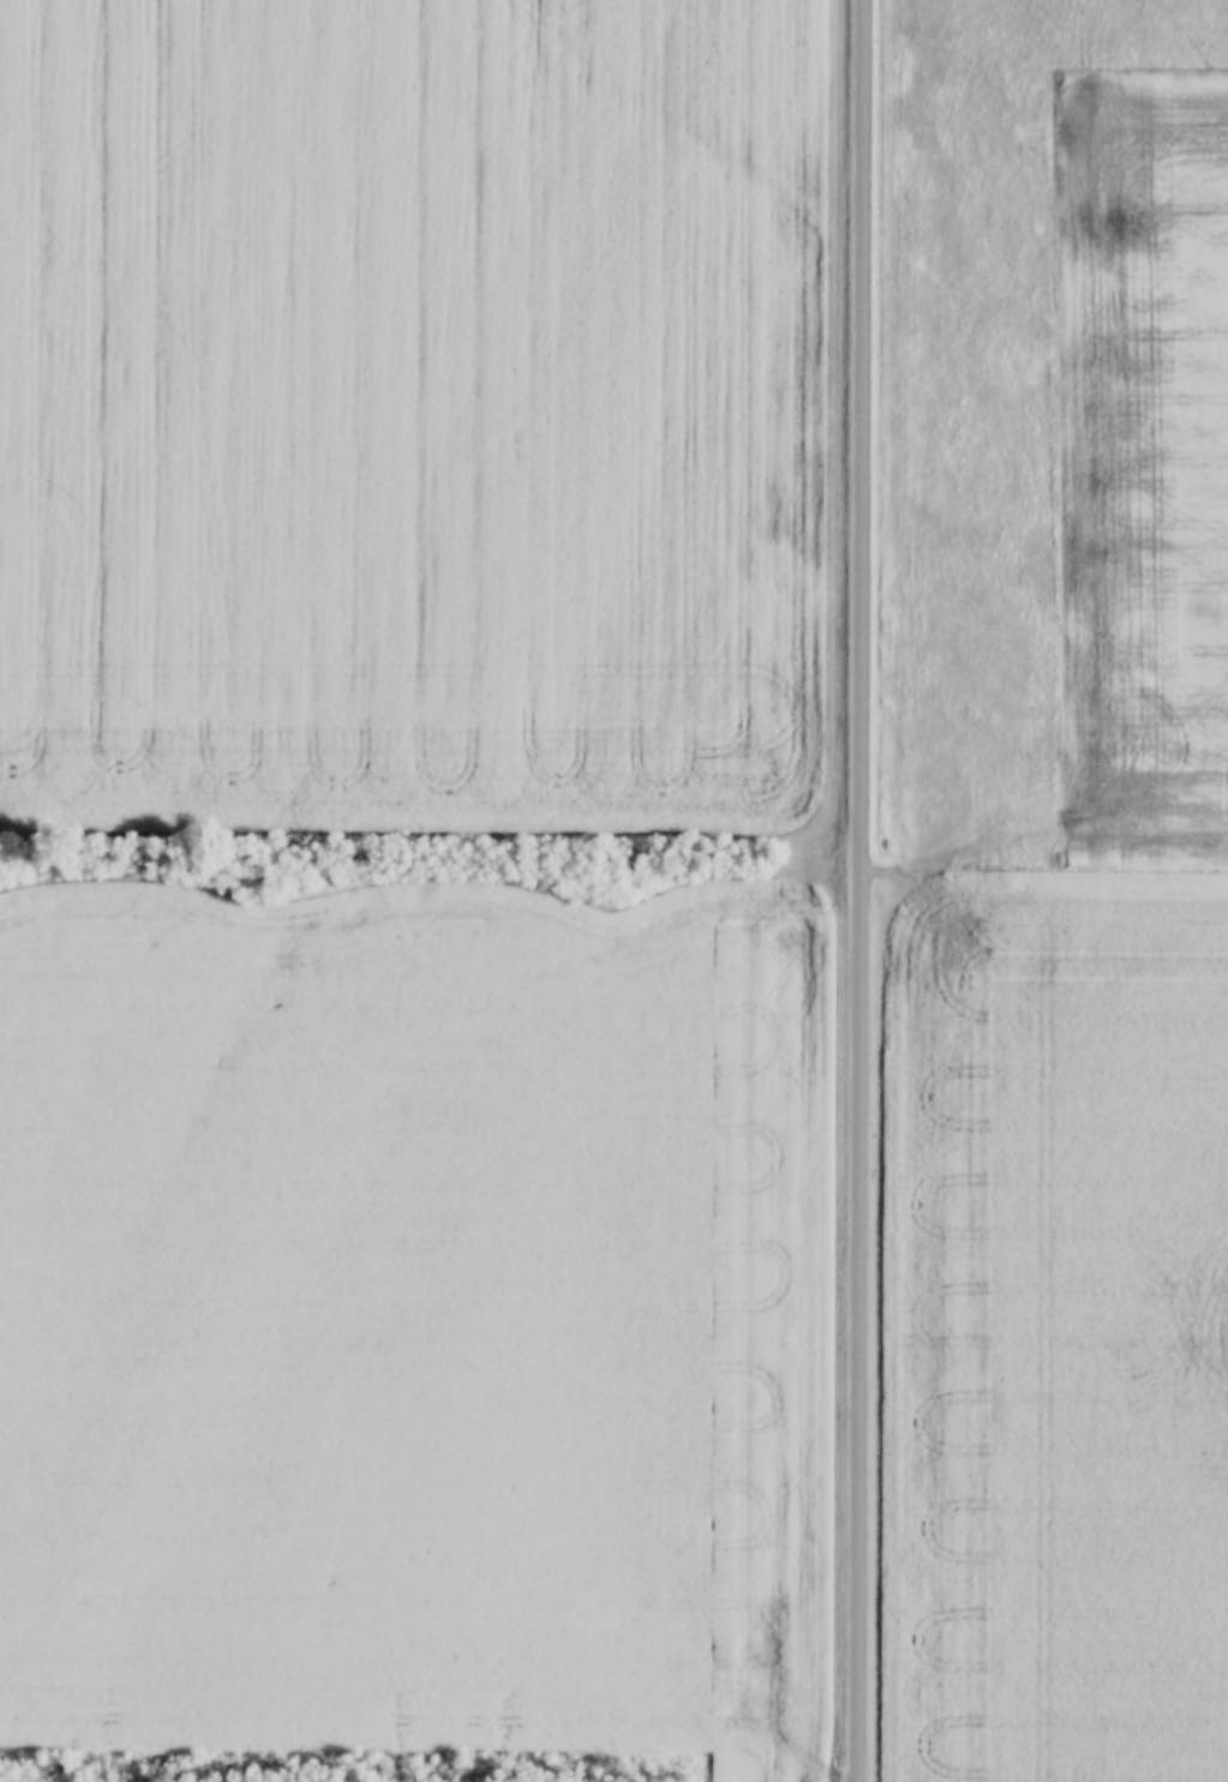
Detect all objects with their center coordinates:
road: (857, 890)

